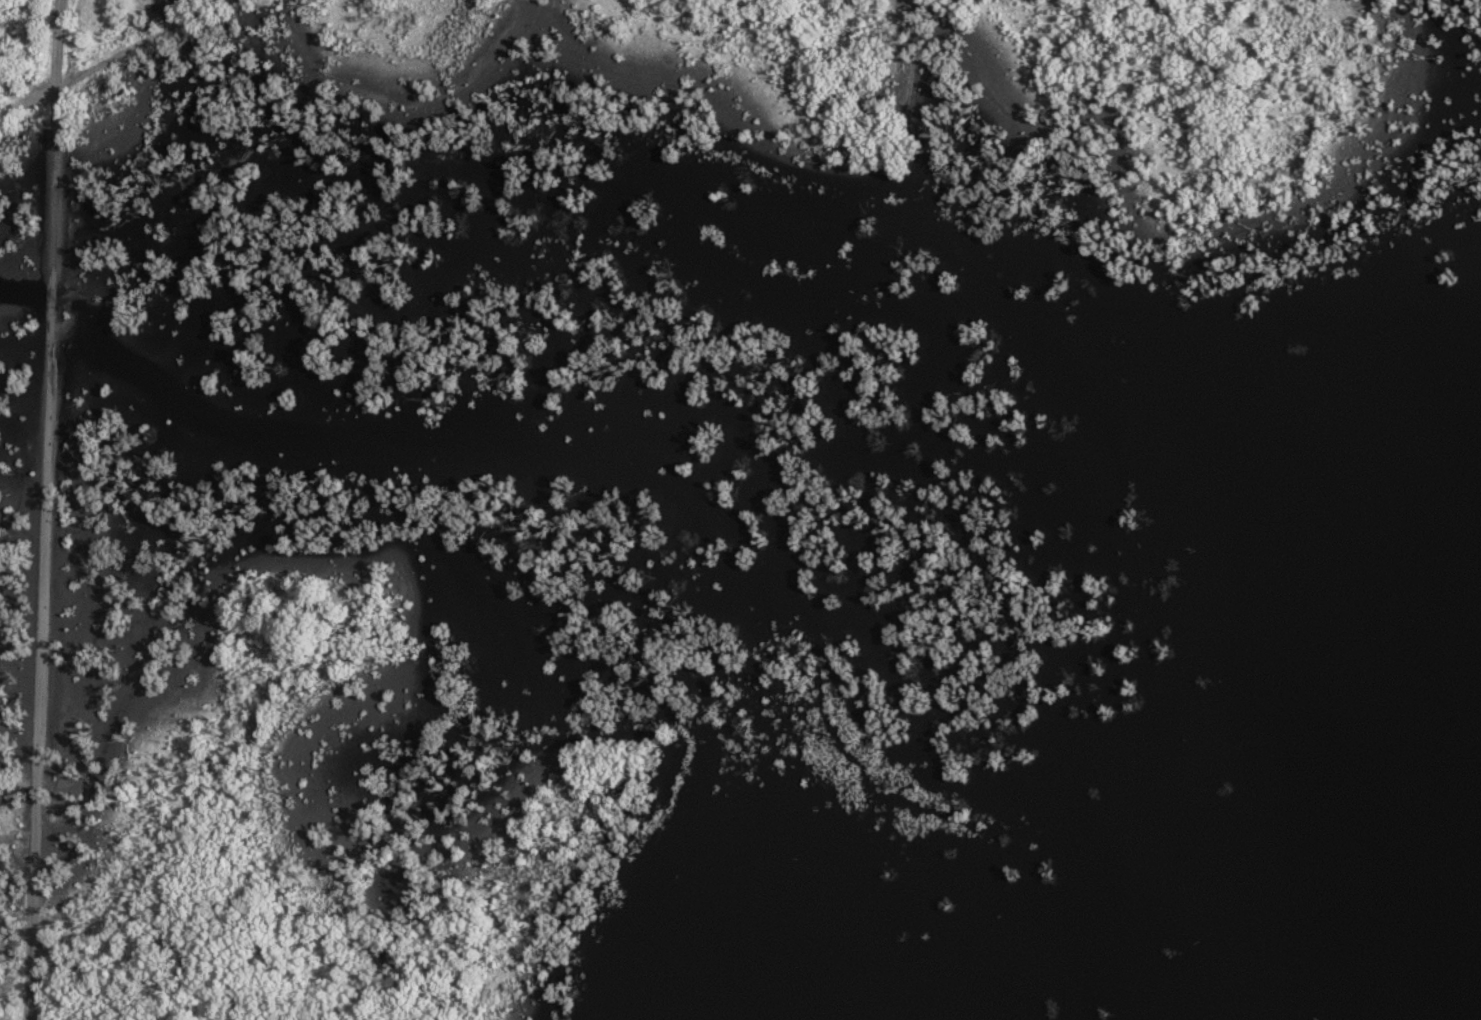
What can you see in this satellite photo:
road: (24, 509)

